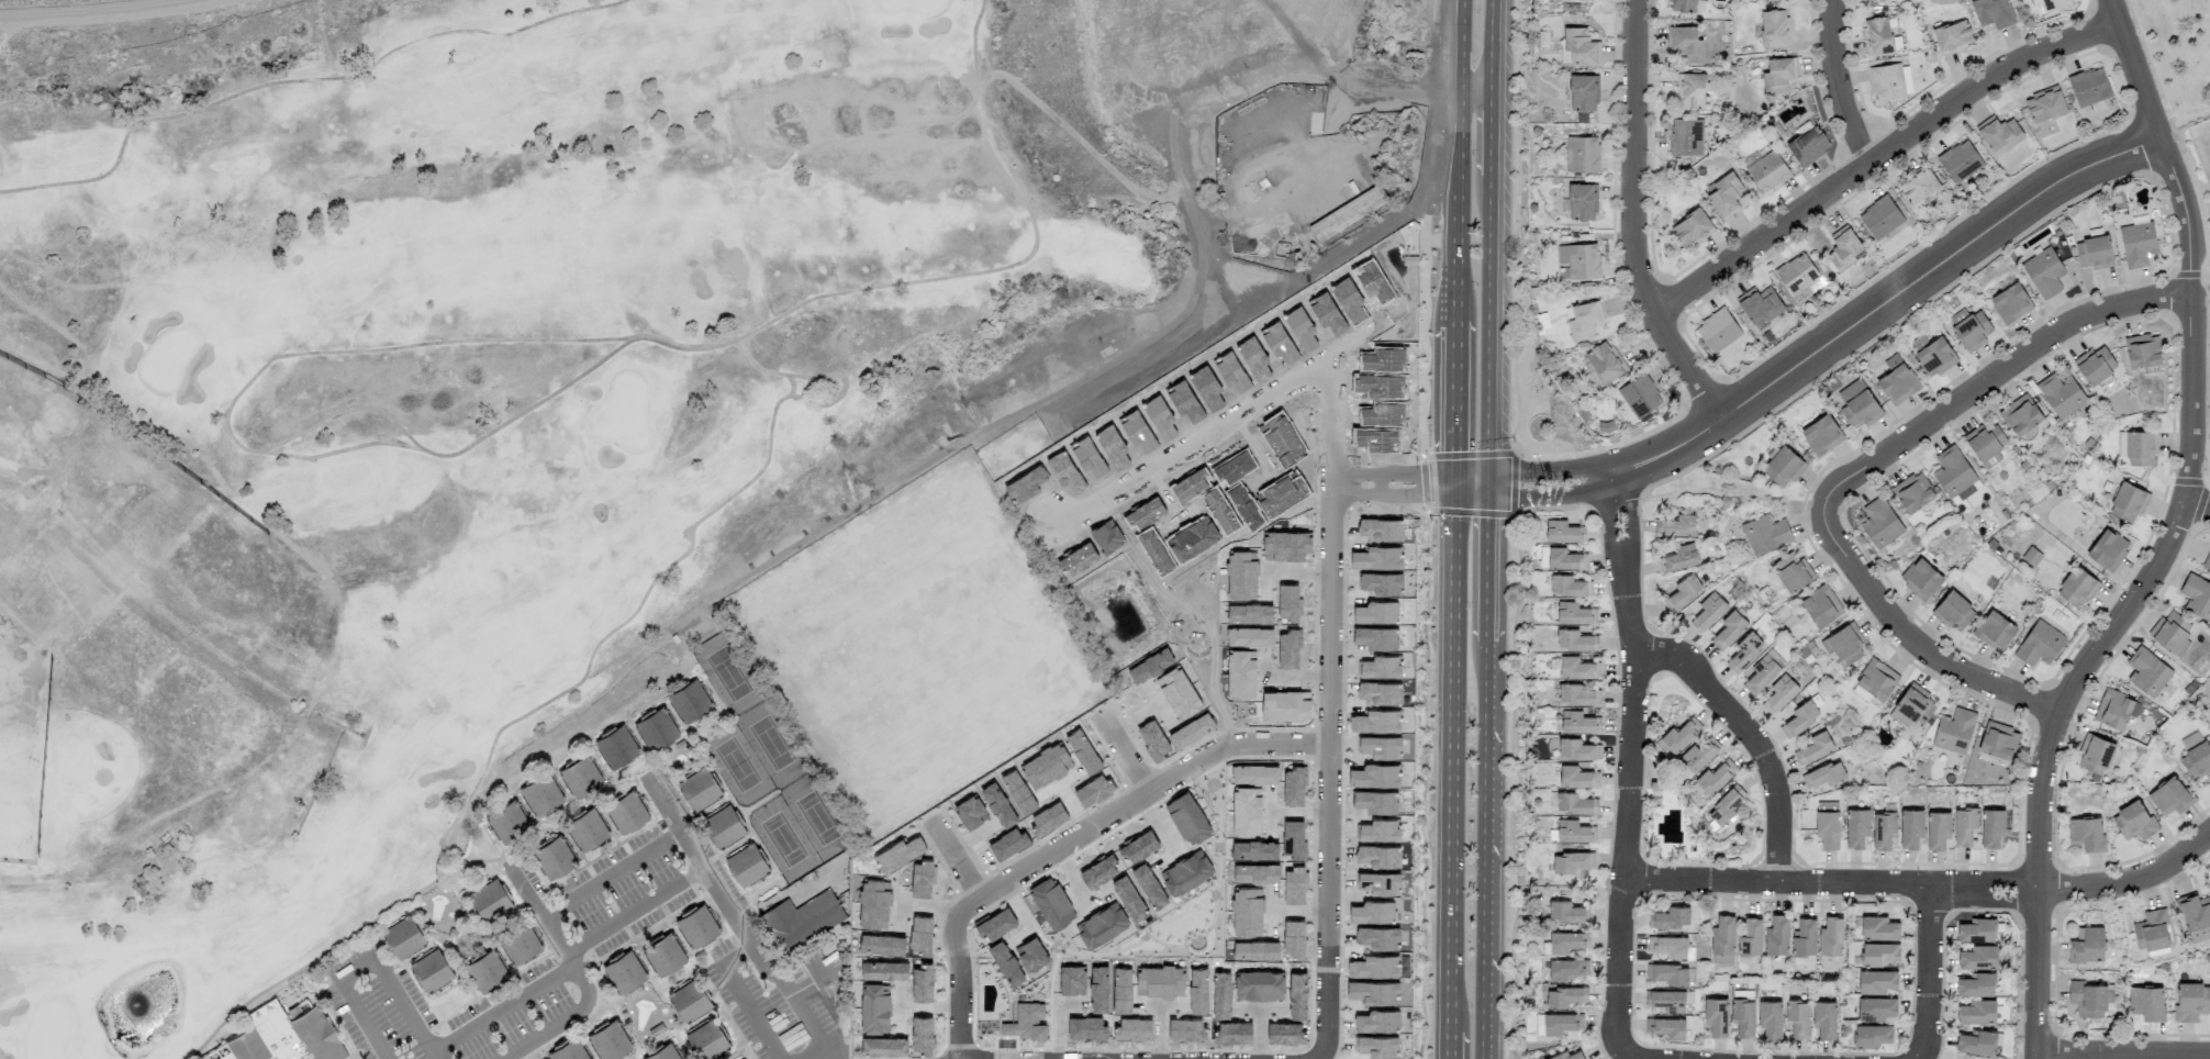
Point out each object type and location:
building: (1901, 0)
road: (46, 2)
building: (1683, 5)
building: (2049, 5)
building: (1993, 12)
building: (1772, 30)
building: (1876, 35)
building: (1952, 36)
road: (973, 40)
road: (1491, 42)
road: (1455, 43)
road: (1320, 44)
building: (1685, 44)
building: (1578, 46)
park: (2180, 54)
building: (1776, 76)
road: (301, 79)
building: (1890, 81)
road: (1840, 83)
road: (1473, 86)
road: (1408, 87)
building: (2089, 87)
building: (1689, 91)
building: (1581, 93)
building: (2044, 104)
road: (2185, 115)
road: (901, 131)
road: (1489, 131)
building: (1998, 133)
building: (1685, 136)
building: (1807, 144)
building: (1582, 154)
road: (1880, 156)
building: (1960, 160)
road: (769, 165)
building: (1767, 171)
building: (1918, 185)
building: (1725, 196)
road: (1453, 202)
building: (1581, 202)
building: (1880, 218)
road: (1634, 221)
building: (1692, 228)
road: (1515, 237)
building: (2138, 244)
building: (1843, 248)
building: (2094, 253)
building: (1580, 259)
building: (2044, 272)
building: (1798, 277)
road: (1888, 300)
building: (2010, 303)
building: (1760, 305)
building: (1584, 320)
building: (1969, 328)
building: (1718, 330)
road: (1487, 331)
road: (601, 341)
building: (2143, 350)
building: (1935, 357)
building: (1604, 363)
building: (2095, 365)
building: (1897, 380)
road: (794, 386)
building: (2061, 394)
building: (1640, 397)
road: (1453, 403)
park: (472, 405)
building: (1861, 409)
building: (2021, 417)
road: (1333, 422)
road: (1212, 431)
building: (1821, 434)
building: (1985, 443)
building: (2140, 447)
road: (465, 452)
building: (1783, 467)
road: (1866, 469)
building: (1952, 471)
road: (1550, 472)
traffic signals: (1487, 486)
road: (1471, 487)
road: (1395, 489)
traffic signals: (1455, 489)
building: (1912, 492)
road: (1554, 497)
building: (2129, 501)
road: (2198, 509)
building: (1879, 522)
building: (1675, 525)
building: (1561, 532)
building: (1765, 534)
road: (2174, 538)
building: (2108, 549)
building: (1561, 558)
building: (1678, 558)
building: (2207, 562)
road: (1486, 566)
building: (1793, 573)
building: (1920, 578)
building: (1569, 586)
building: (2077, 587)
building: (1684, 590)
park: (957, 594)
building: (2197, 597)
building: (1820, 605)
building: (1708, 611)
building: (1954, 611)
building: (1573, 613)
road: (1332, 617)
park: (1190, 622)
building: (1729, 629)
building: (1995, 631)
building: (2172, 633)
building: (1575, 640)
building: (1843, 644)
building: (2039, 644)
building: (1744, 651)
building: (1577, 668)
building: (1763, 671)
building: (2147, 671)
road: (581, 679)
building: (1875, 680)
building: (1779, 693)
building: (1577, 694)
building: (689, 700)
building: (1911, 707)
building: (2116, 709)
building: (1799, 717)
building: (1577, 722)
building: (655, 728)
building: (1954, 731)
building: (1679, 735)
road: (1753, 736)
building: (1998, 739)
building: (615, 746)
building: (1813, 747)
building: (1576, 749)
road: (1124, 753)
building: (1698, 754)
building: (2095, 755)
building: (2196, 755)
road: (1453, 760)
road: (1630, 760)
park: (770, 765)
building: (1823, 774)
building: (580, 776)
building: (1577, 777)
building: (1714, 778)
building: (699, 789)
building: (539, 793)
building: (2169, 795)
building: (1575, 803)
building: (1723, 806)
building: (626, 812)
building: (2134, 821)
building: (507, 823)
building: (1827, 824)
building: (1964, 825)
building: (723, 826)
building: (1856, 827)
building: (1910, 827)
building: (1991, 827)
building: (585, 828)
building: (1883, 829)
building: (1938, 829)
building: (1574, 831)
building: (2085, 833)
road: (1073, 838)
road: (1485, 852)
building: (552, 857)
road: (956, 860)
building: (1571, 861)
building: (746, 865)
road: (613, 873)
road: (1926, 883)
road: (666, 891)
road: (1328, 893)
building: (490, 901)
building: (1566, 912)
building: (2196, 916)
building: (1671, 917)
building: (802, 919)
building: (696, 925)
building: (1878, 927)
park: (1176, 929)
building: (1977, 929)
building: (2151, 930)
building: (1776, 935)
building: (1831, 936)
building: (403, 937)
building: (1750, 937)
building: (1804, 937)
building: (1722, 939)
building: (1567, 940)
building: (520, 944)
building: (2086, 944)
building: (1668, 946)
building: (1878, 954)
building: (662, 955)
building: (1978, 957)
road: (367, 962)
building: (1373, 966)
building: (1565, 969)
building: (431, 970)
building: (485, 970)
building: (884, 970)
road: (1931, 972)
building: (625, 973)
building: (1668, 973)
building: (1070, 978)
building: (1159, 980)
building: (922, 981)
building: (1876, 981)
building: (1259, 984)
building: (1976, 984)
building: (1098, 989)
building: (1121, 990)
building: (1197, 991)
building: (1373, 991)
building: (1297, 995)
building: (1564, 996)
building: (2090, 999)
building: (689, 1000)
building: (1667, 1000)
road: (740, 1001)
building: (2146, 1001)
building: (2191, 1001)
fountain: (139, 1006)
building: (1875, 1007)
building: (874, 1008)
road: (501, 1010)
building: (1977, 1011)
building: (1716, 1015)
building: (1743, 1016)
building: (1214, 1017)
building: (1797, 1017)
building: (1770, 1018)
building: (1824, 1018)
building: (1377, 1021)
building: (1025, 1022)
building: (1561, 1023)
building: (1086, 1027)
building: (1665, 1027)
building: (1132, 1028)
building: (1285, 1033)
building: (286, 1035)
building: (920, 1035)
building: (1871, 1035)
building: (609, 1040)
building: (706, 1040)
building: (1976, 1041)
road: (1450, 1045)
building: (883, 1046)
building: (1377, 1046)
road: (1322, 1049)
building: (568, 1050)
building: (661, 1052)
road: (816, 1054)
road: (1627, 1055)
road: (2125, 1055)
building: (225, 1056)
building: (1566, 1056)

